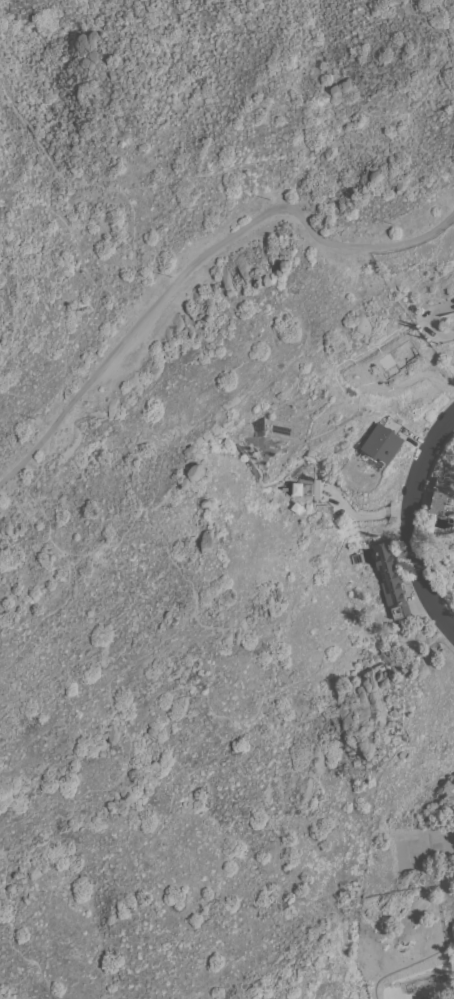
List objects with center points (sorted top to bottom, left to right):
road: (334, 133)
road: (46, 154)
road: (295, 184)
road: (414, 237)
road: (133, 255)
road: (164, 296)
road: (432, 324)
park: (198, 404)
building: (384, 440)
building: (296, 488)
building: (315, 488)
building: (443, 491)
road: (410, 523)
building: (355, 558)
park: (360, 559)
building: (390, 579)
park: (287, 849)

